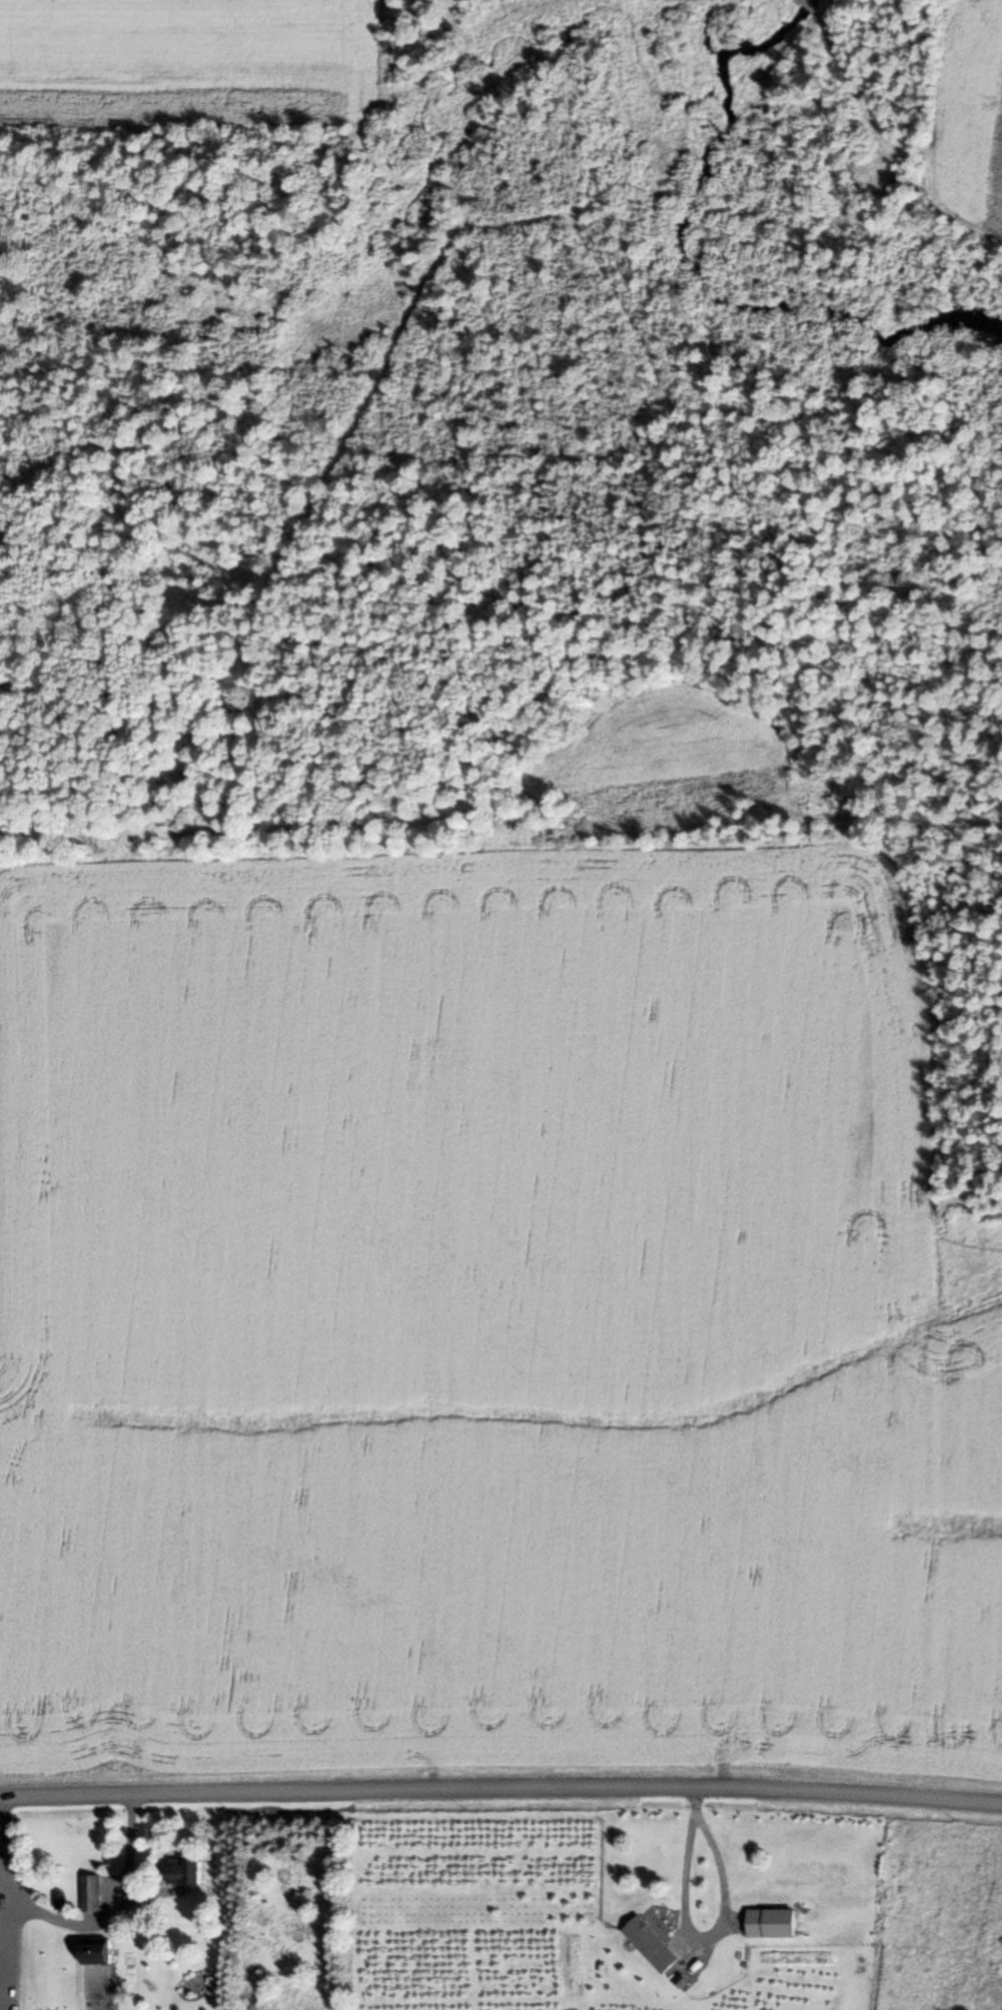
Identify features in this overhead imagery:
road: (501, 1786)
building: (192, 1872)
building: (94, 1892)
building: (0, 1911)
building: (777, 1922)
building: (656, 1945)
building: (102, 1950)

